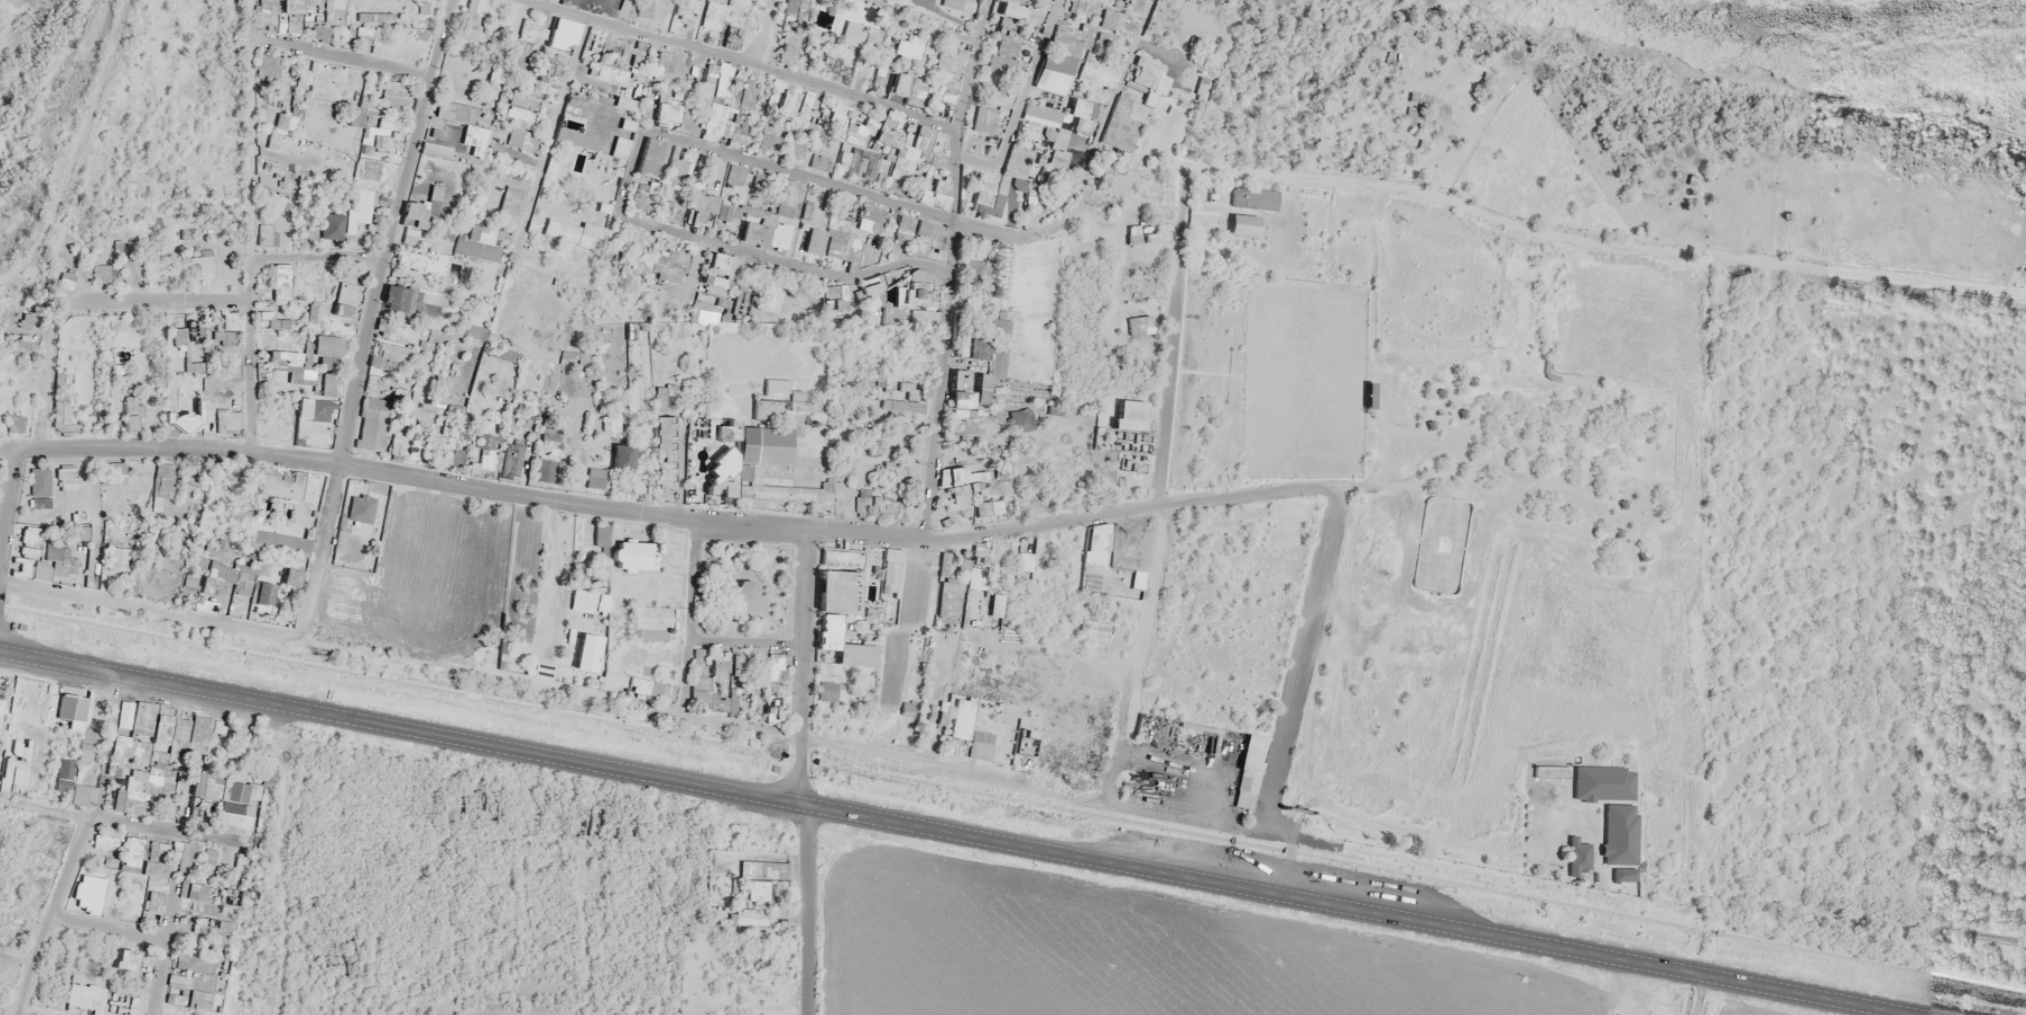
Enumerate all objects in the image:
road: (622, 14)
road: (1153, 54)
road: (337, 58)
road: (732, 64)
road: (1025, 84)
road: (1105, 104)
road: (539, 135)
road: (1468, 139)
road: (72, 146)
road: (969, 161)
road: (1181, 168)
road: (628, 173)
road: (792, 176)
road: (246, 227)
road: (657, 228)
road: (313, 259)
road: (1727, 261)
road: (941, 270)
road: (818, 275)
road: (687, 276)
road: (148, 305)
road: (366, 319)
road: (1164, 334)
road: (43, 380)
road: (672, 467)
road: (7, 502)
road: (673, 520)
park: (743, 589)
road: (687, 619)
road: (742, 647)
road: (1134, 648)
road: (1300, 658)
road: (798, 668)
road: (639, 709)
road: (398, 727)
road: (121, 823)
road: (77, 847)
road: (1279, 865)
road: (801, 908)
road: (1352, 912)
road: (105, 929)
road: (161, 950)
road: (1690, 995)
road: (18, 1011)

